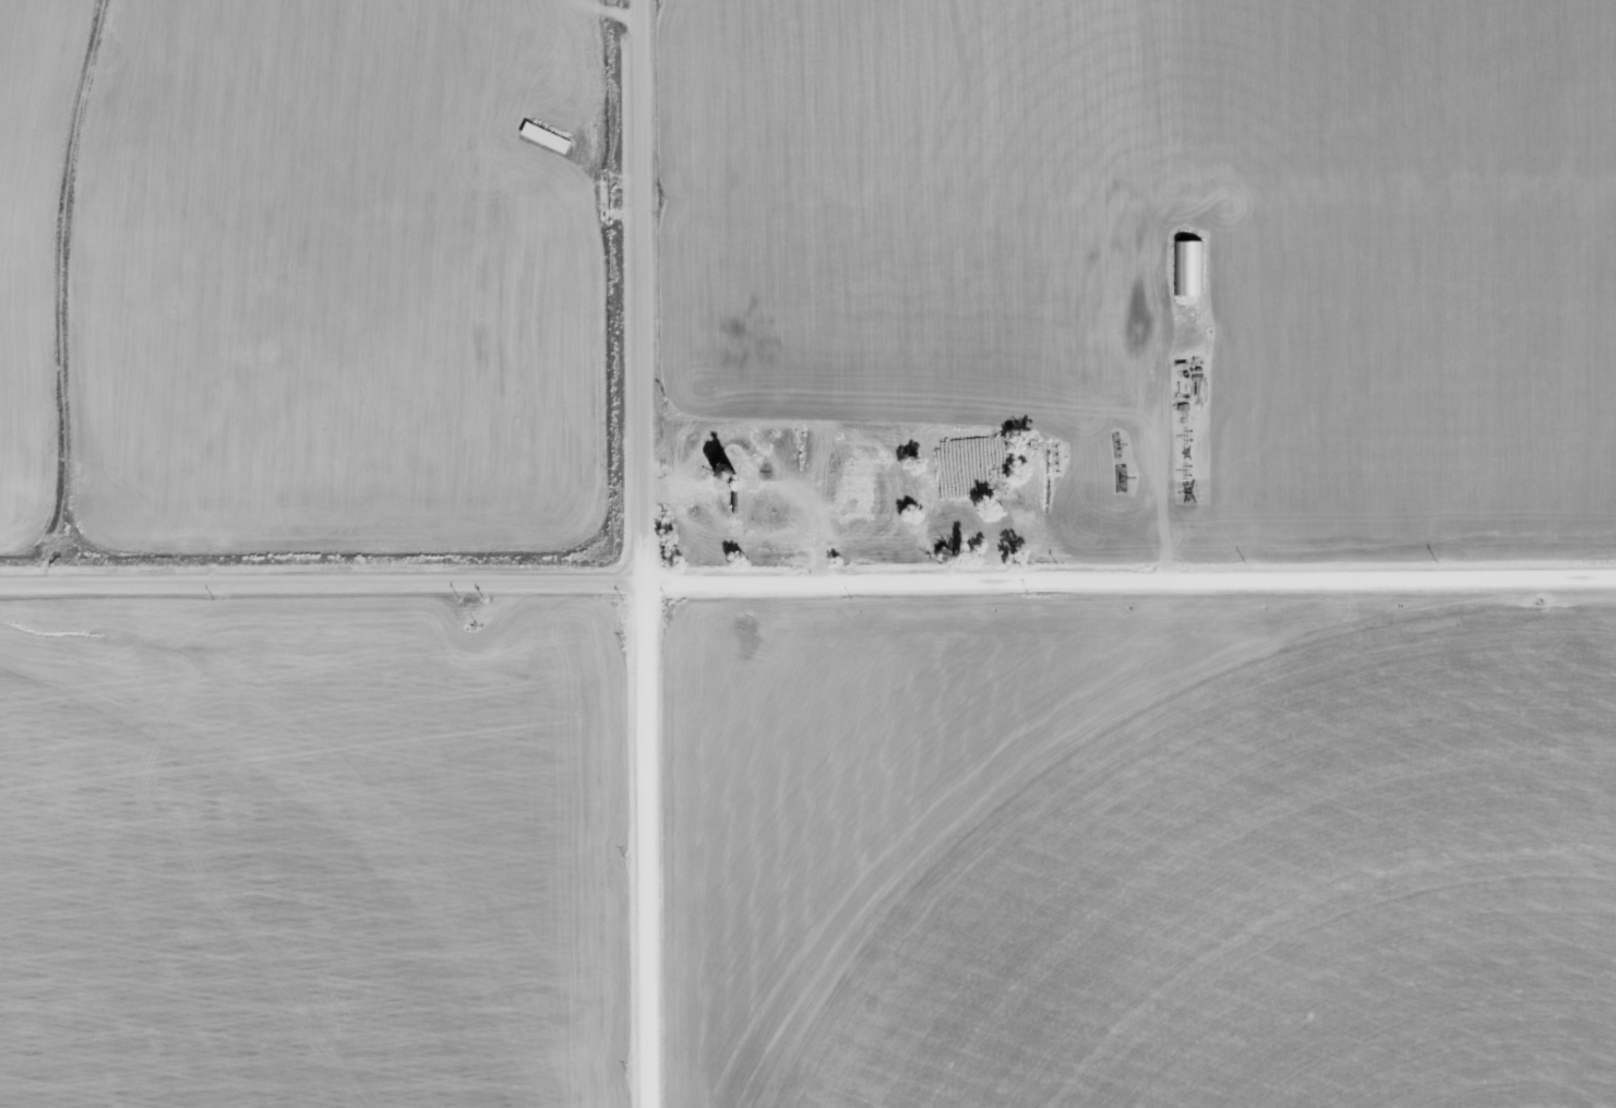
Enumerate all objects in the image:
building: (1190, 267)
road: (1162, 405)
road: (643, 553)
road: (807, 575)

